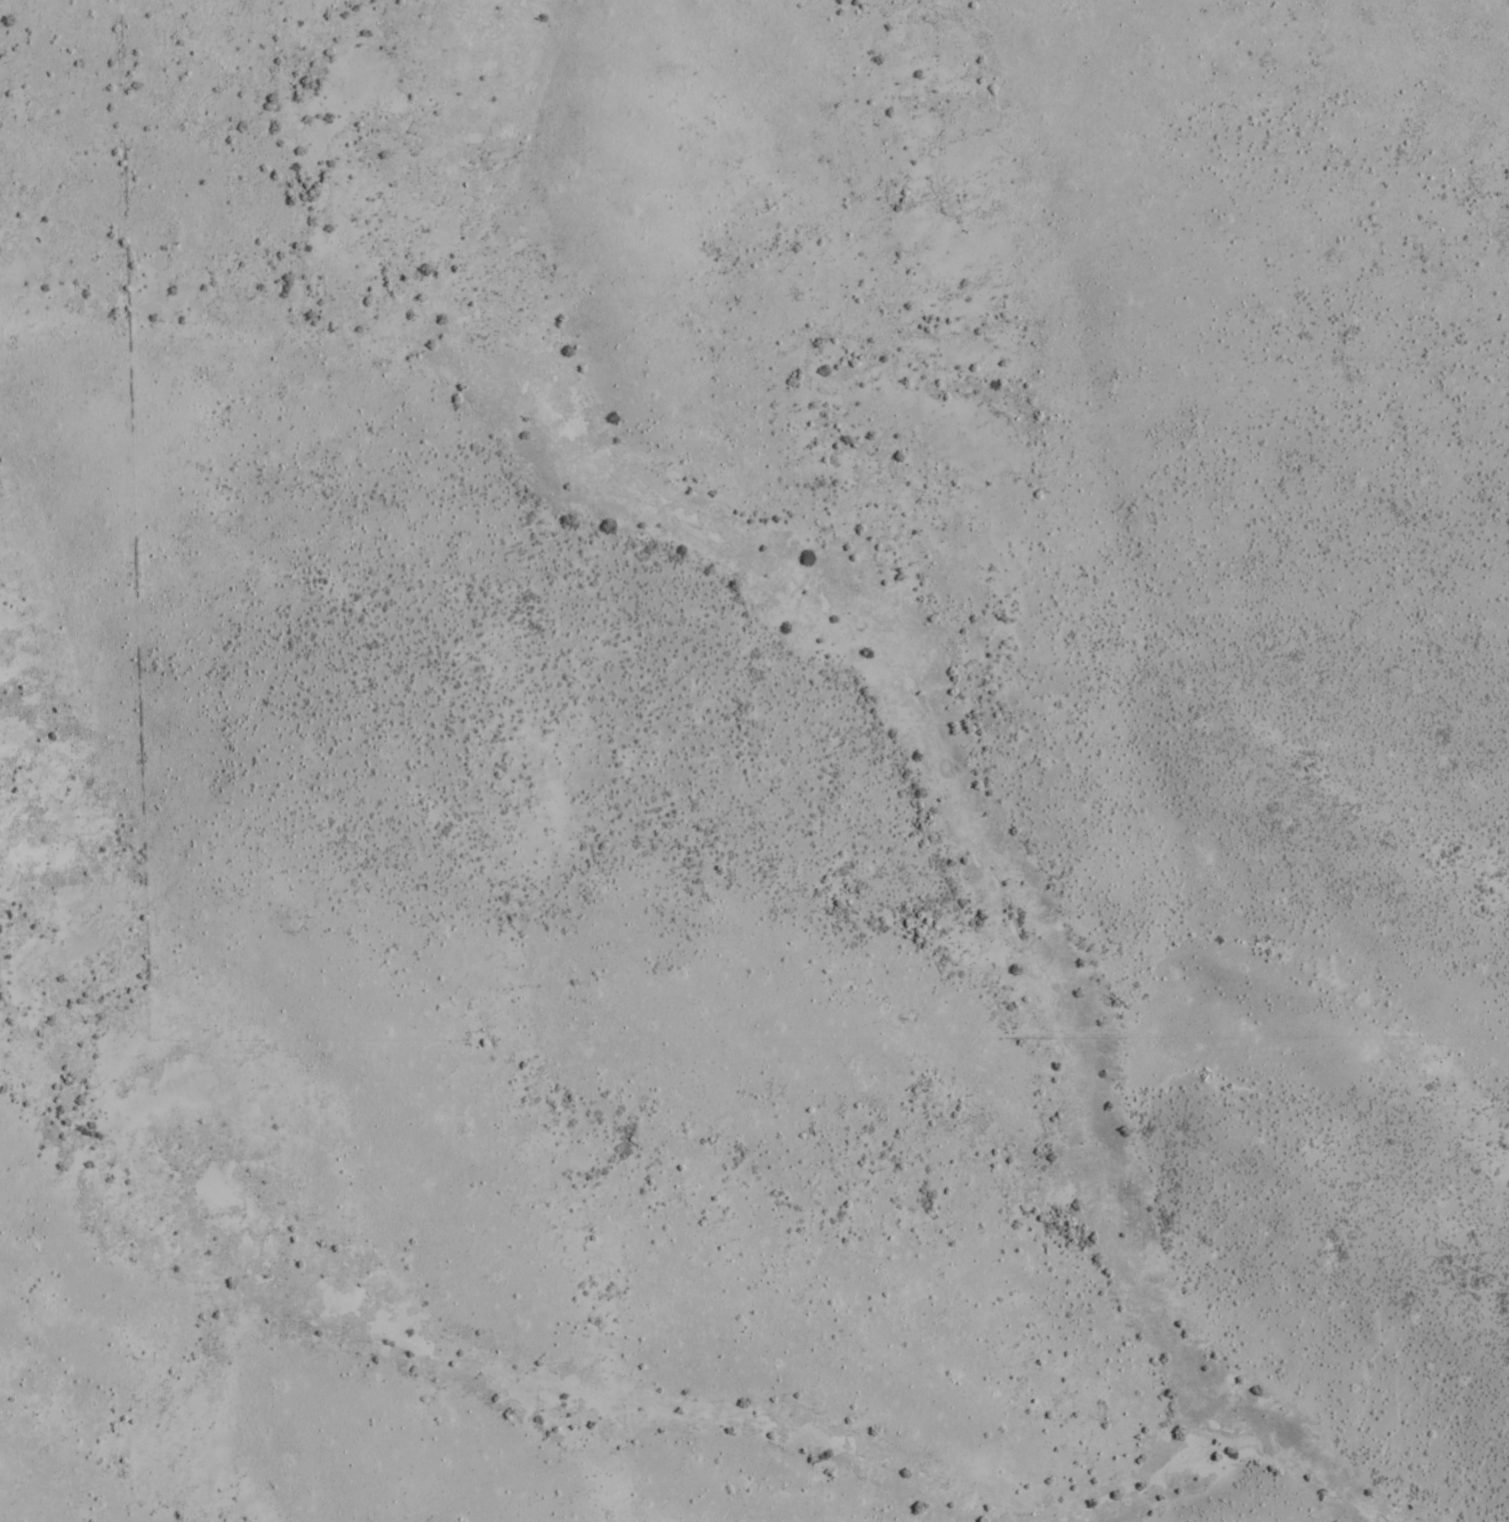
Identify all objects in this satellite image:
road: (267, 593)

